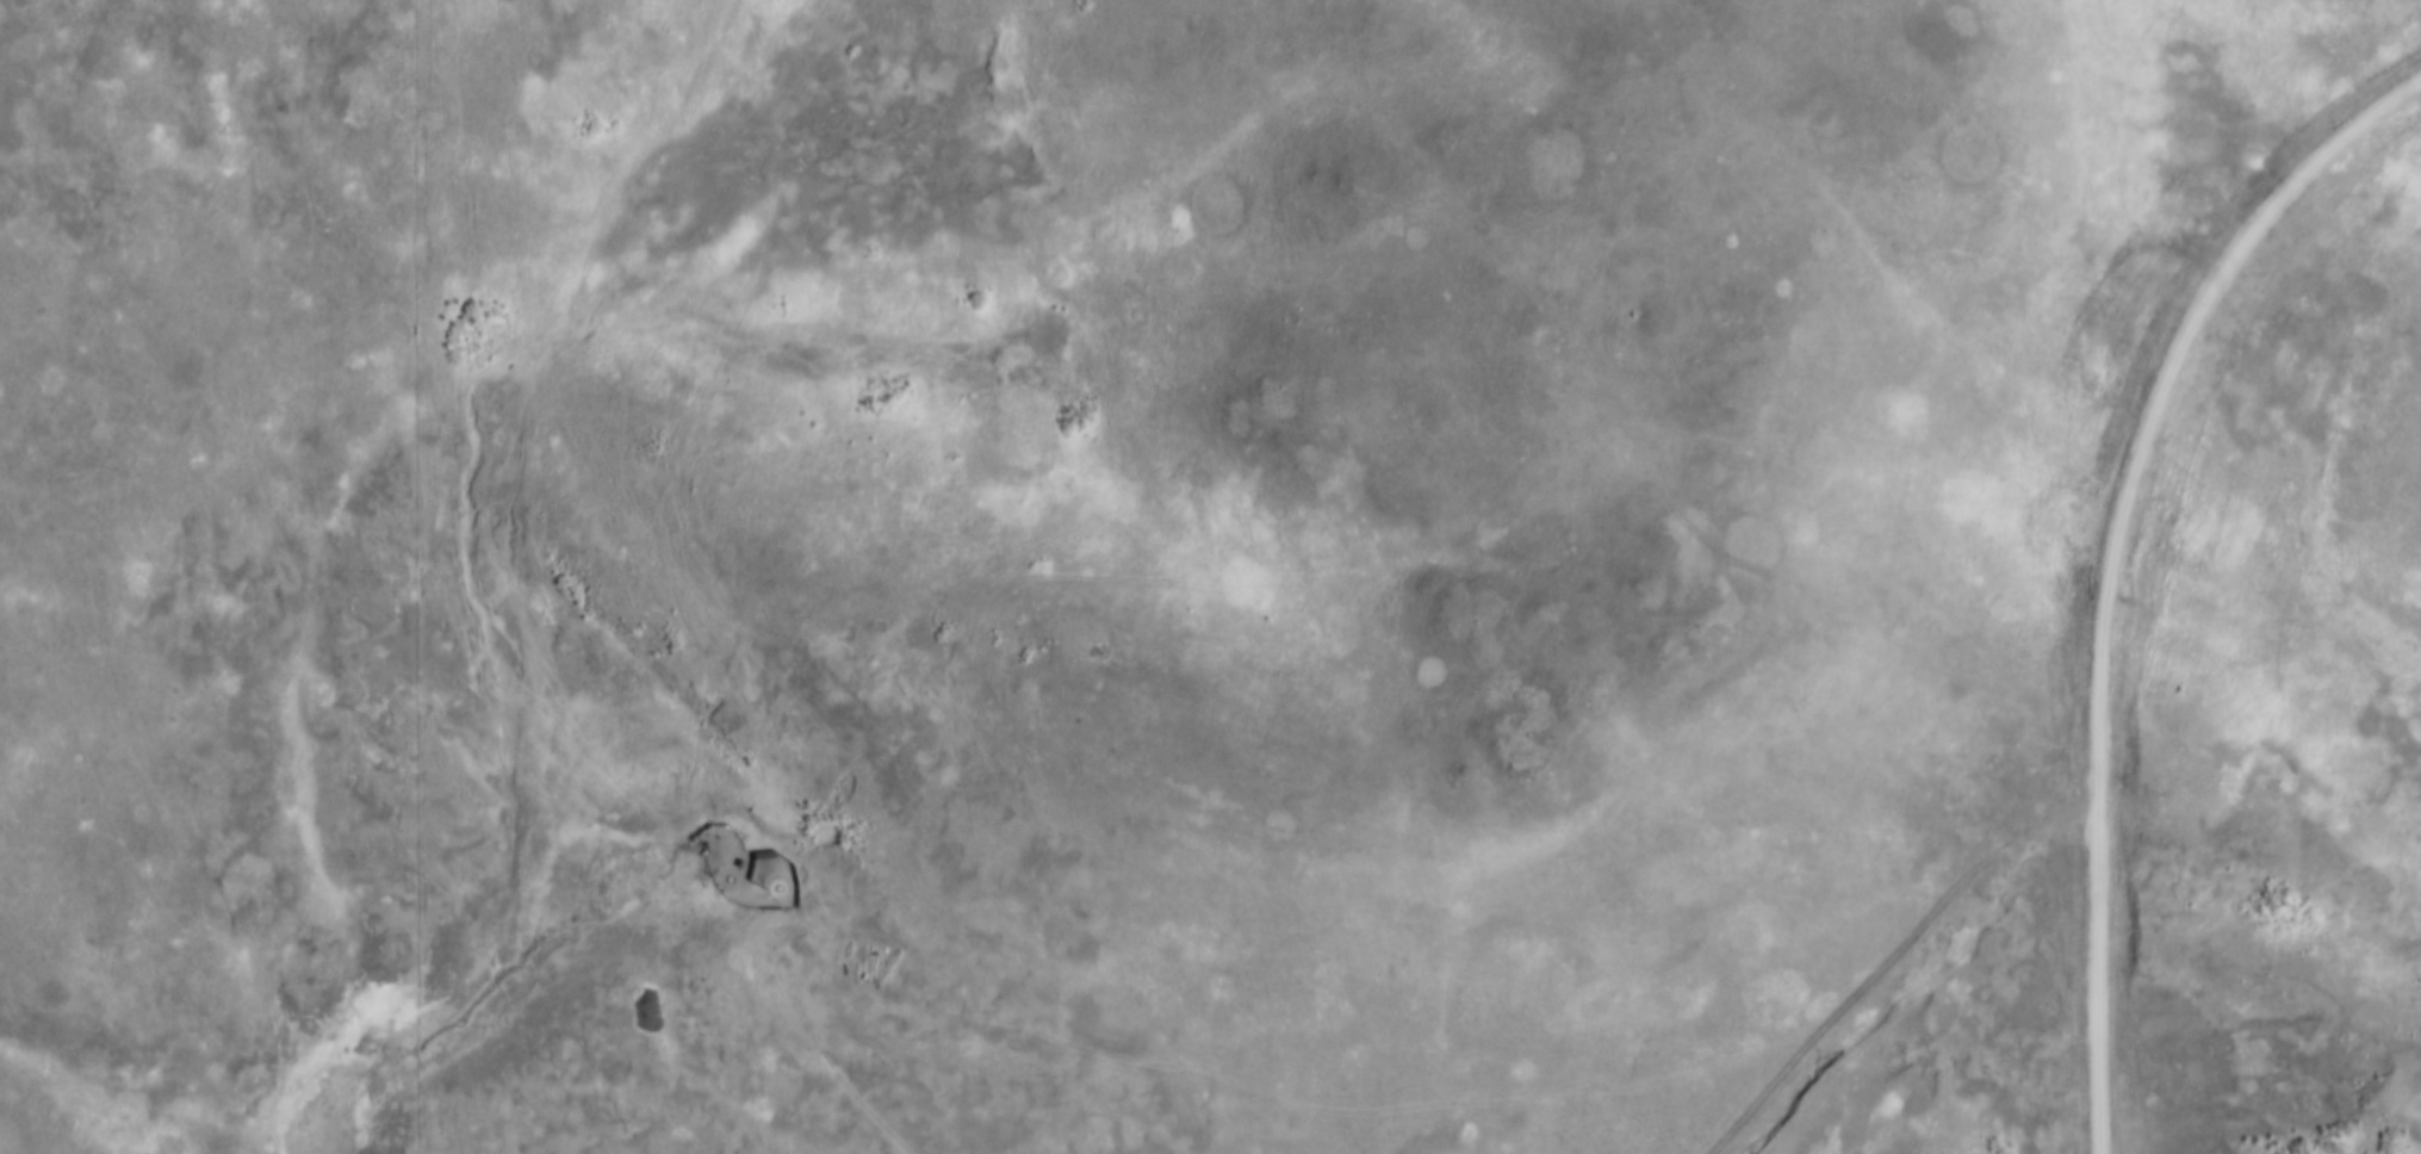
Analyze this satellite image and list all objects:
road: (2104, 556)

